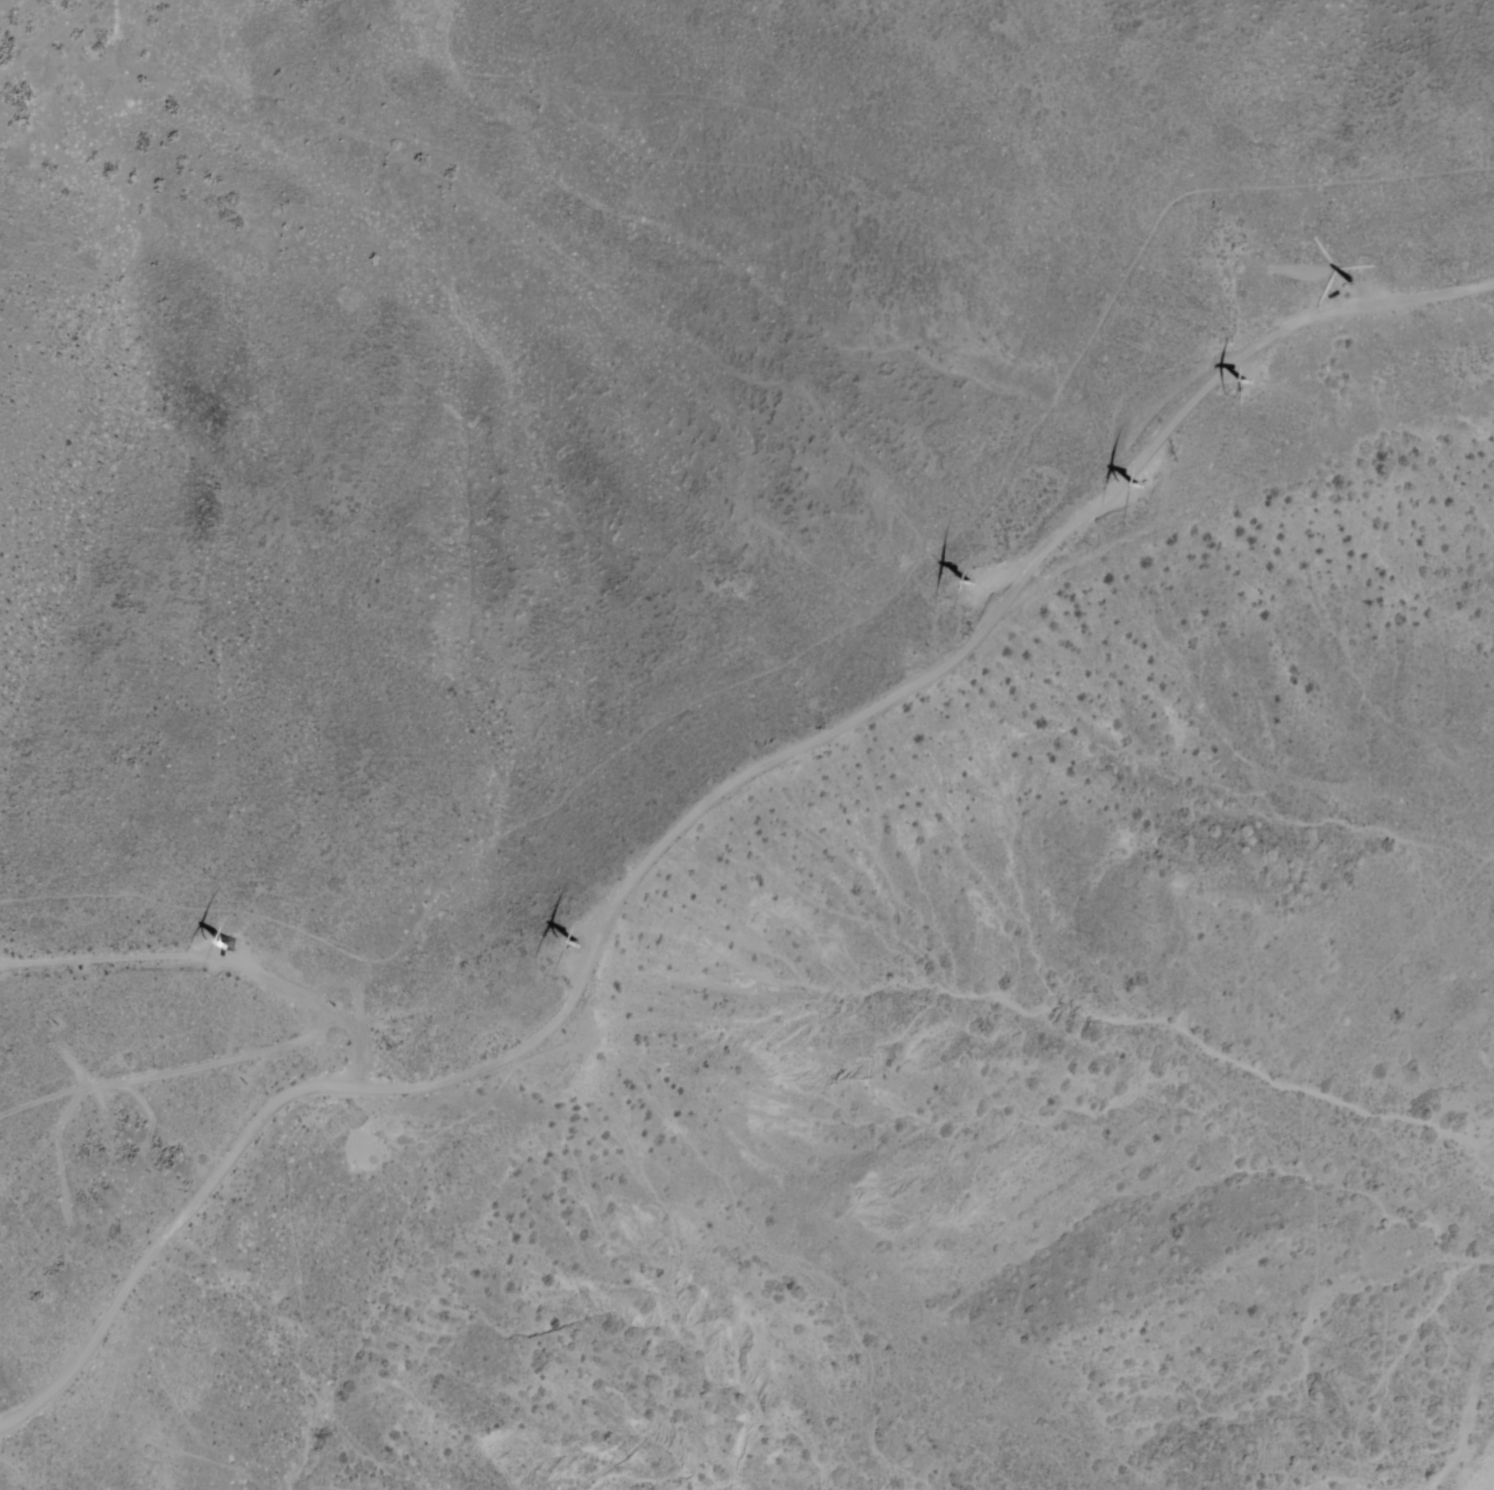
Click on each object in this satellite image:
wind turbine: (1345, 272)
wind turbine: (1247, 382)
wind turbine: (1135, 477)
wind turbine: (977, 577)
wind turbine: (228, 945)
wind turbine: (566, 947)

